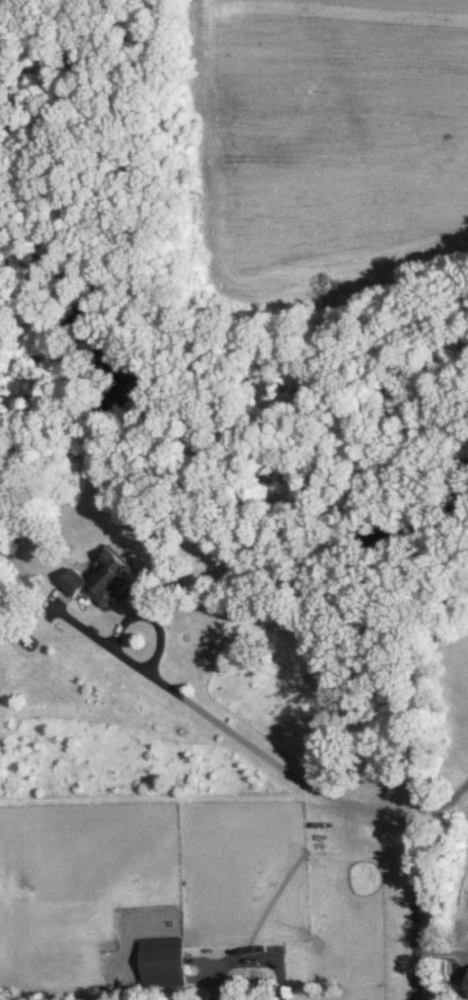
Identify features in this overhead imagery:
building: (96, 581)
road: (335, 797)
road: (441, 805)
building: (161, 957)

